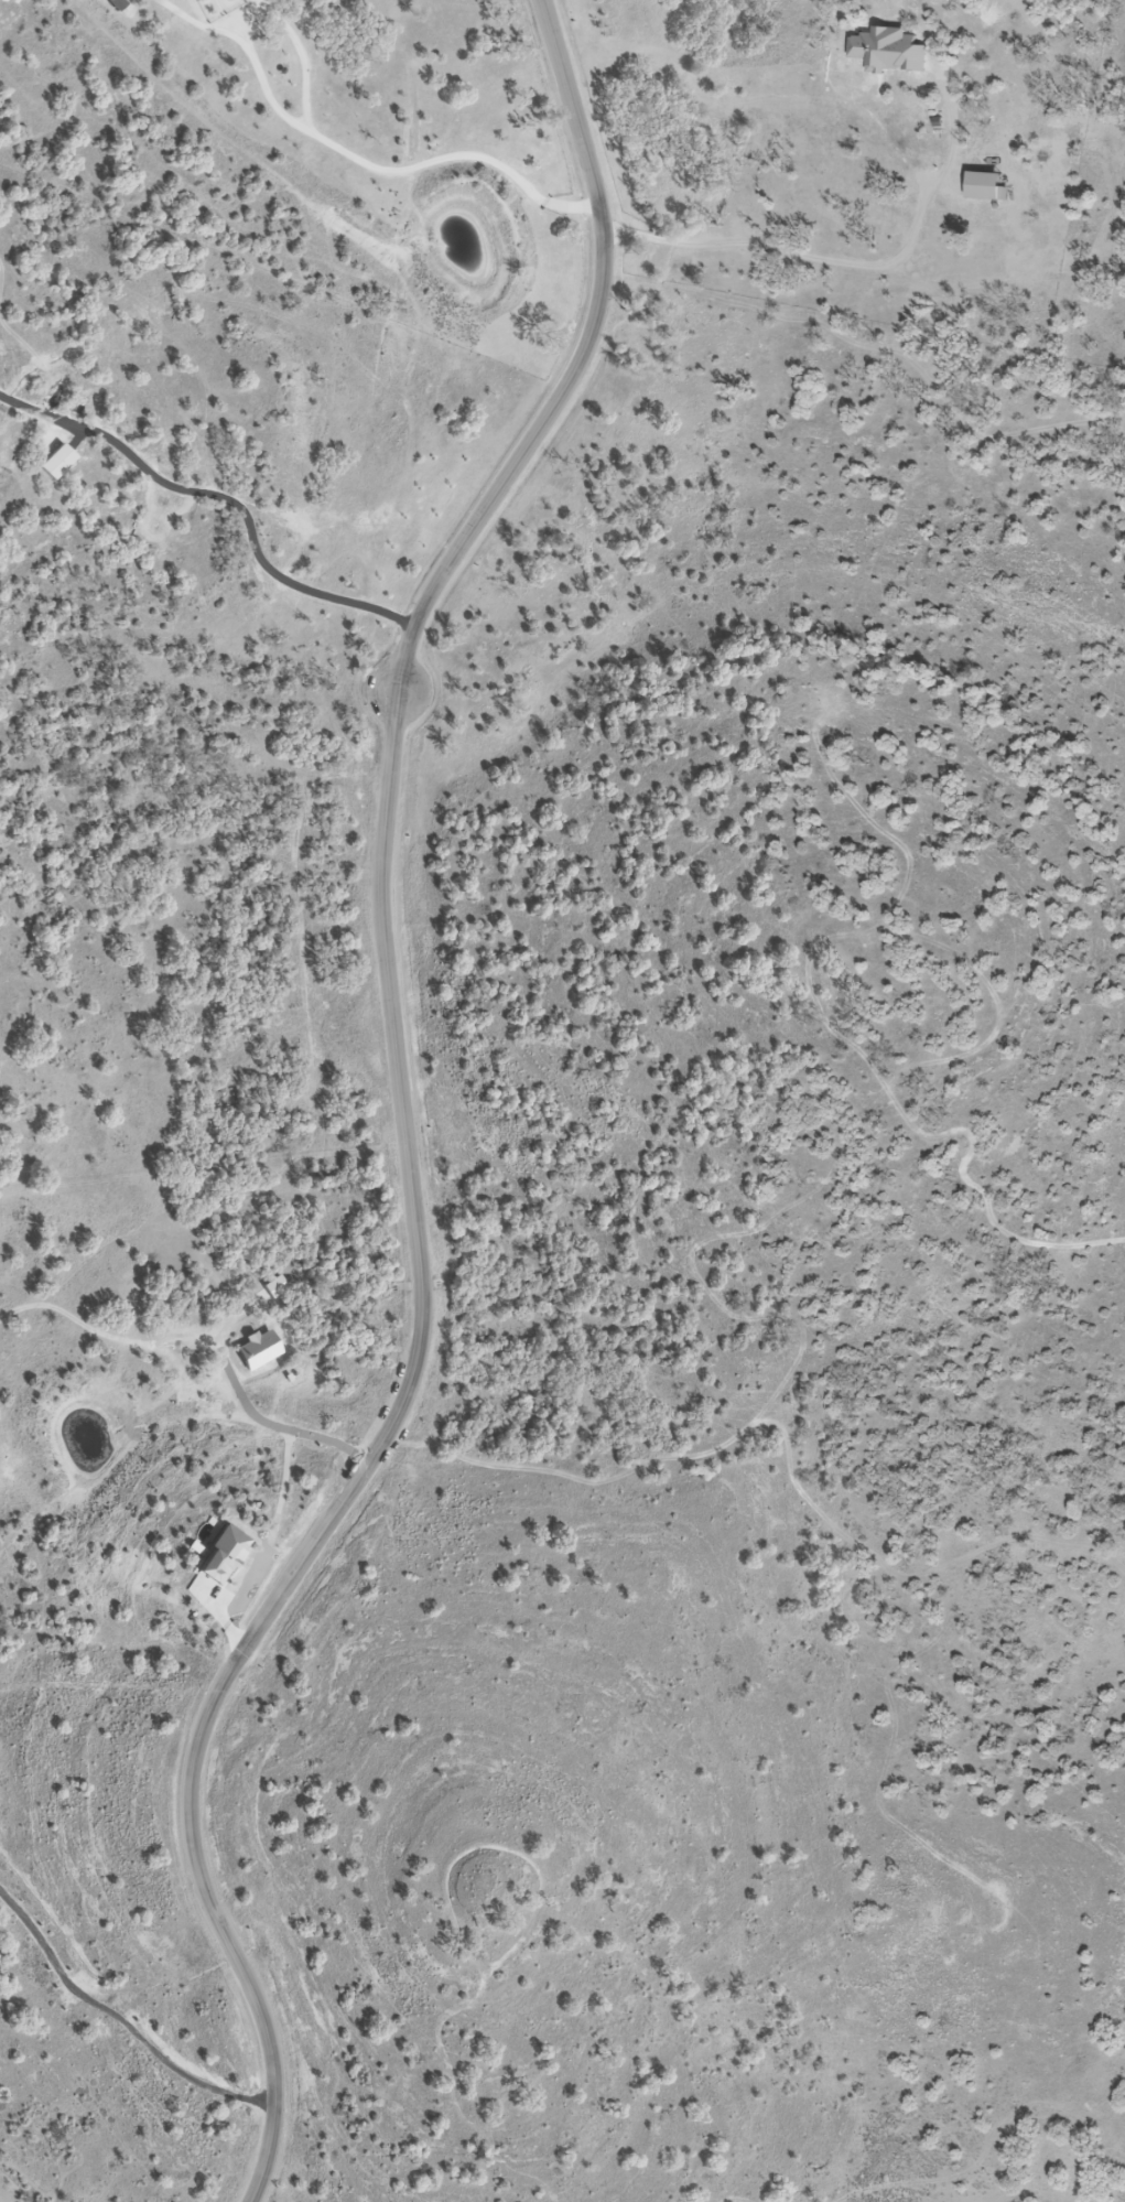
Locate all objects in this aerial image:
road: (316, 131)
road: (829, 256)
road: (223, 492)
road: (404, 1112)
road: (120, 2016)

